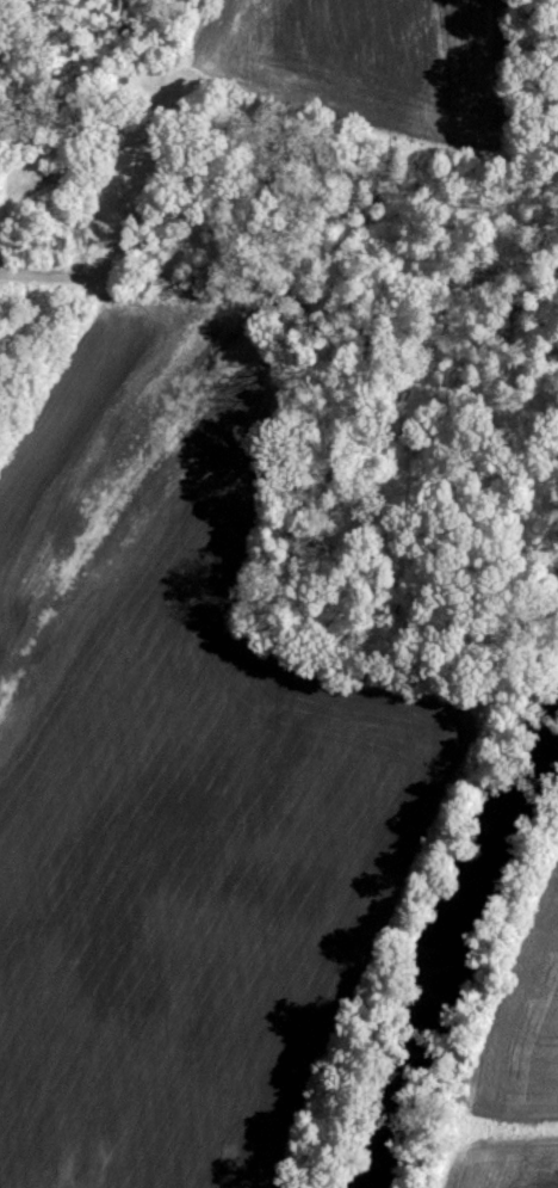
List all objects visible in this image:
river: (457, 959)

